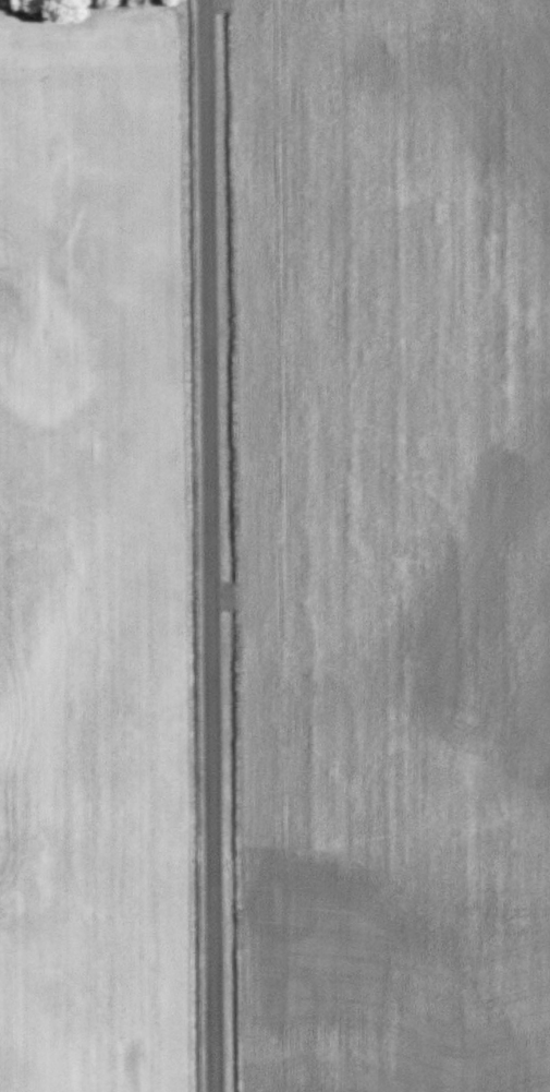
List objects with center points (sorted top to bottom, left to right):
road: (211, 545)

